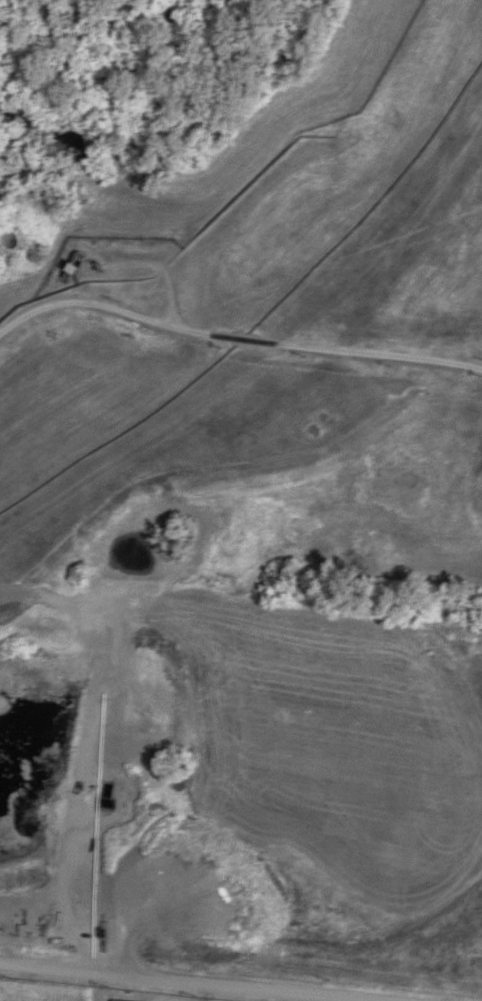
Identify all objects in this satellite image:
road: (195, 981)
road: (96, 986)
crop: (30, 990)
building: (124, 1000)

